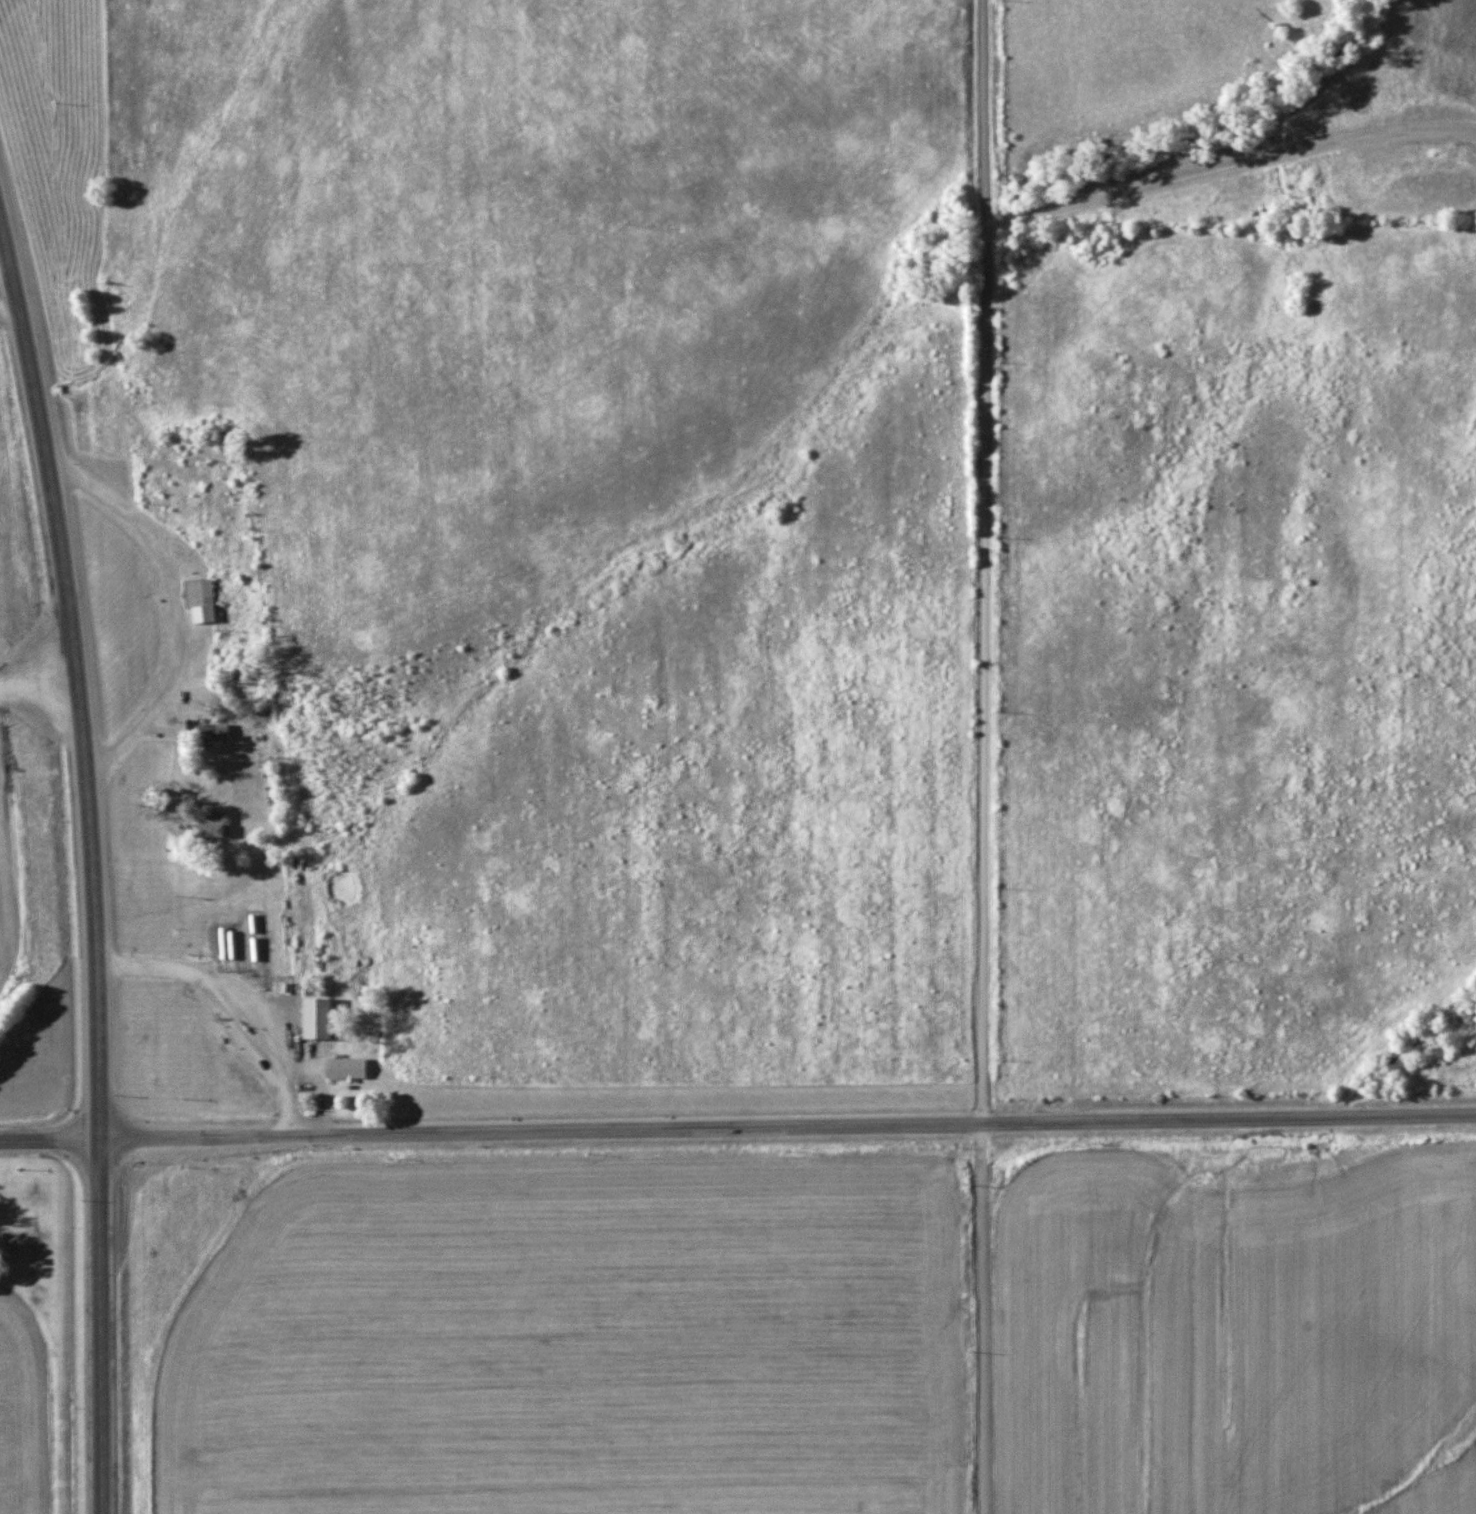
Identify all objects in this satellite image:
building: (197, 600)
road: (174, 619)
building: (210, 731)
road: (133, 735)
road: (982, 756)
building: (209, 824)
road: (89, 867)
road: (231, 1002)
building: (332, 1061)
road: (787, 1124)
road: (49, 1140)

